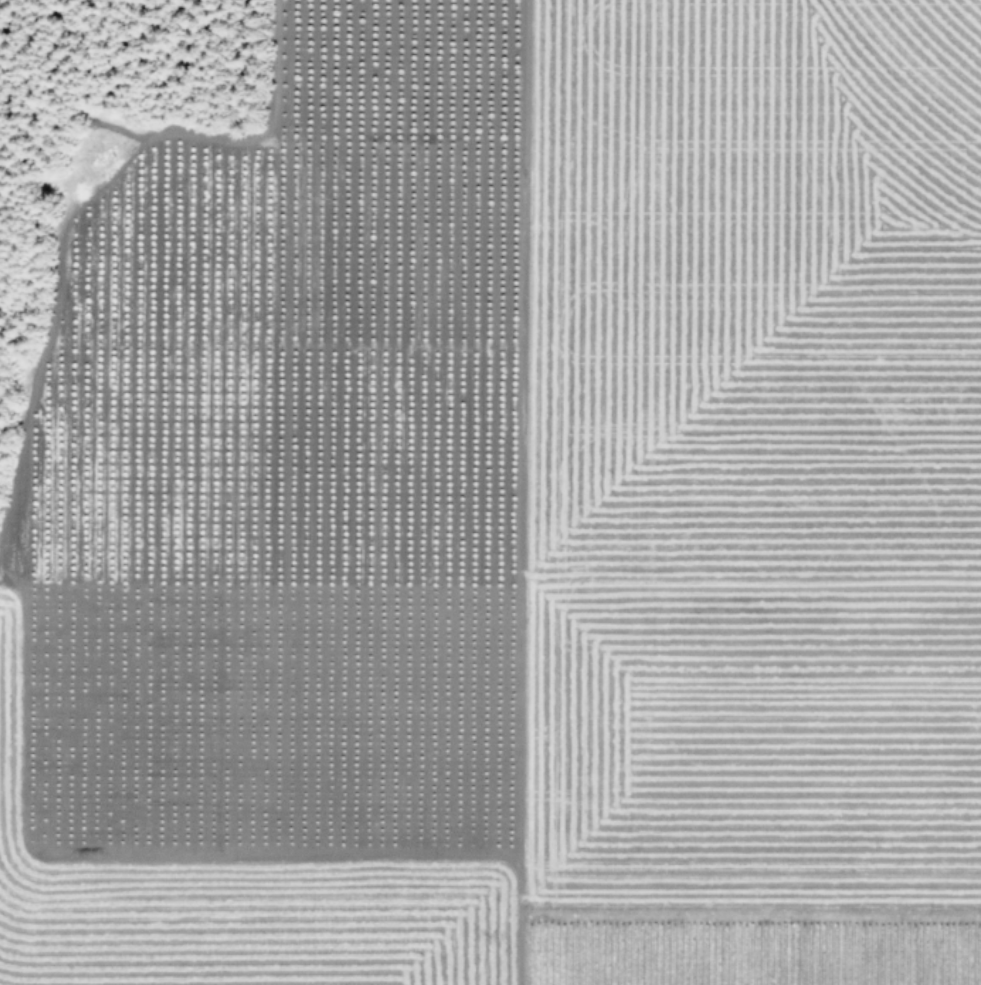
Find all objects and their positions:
crop: (510, 512)

